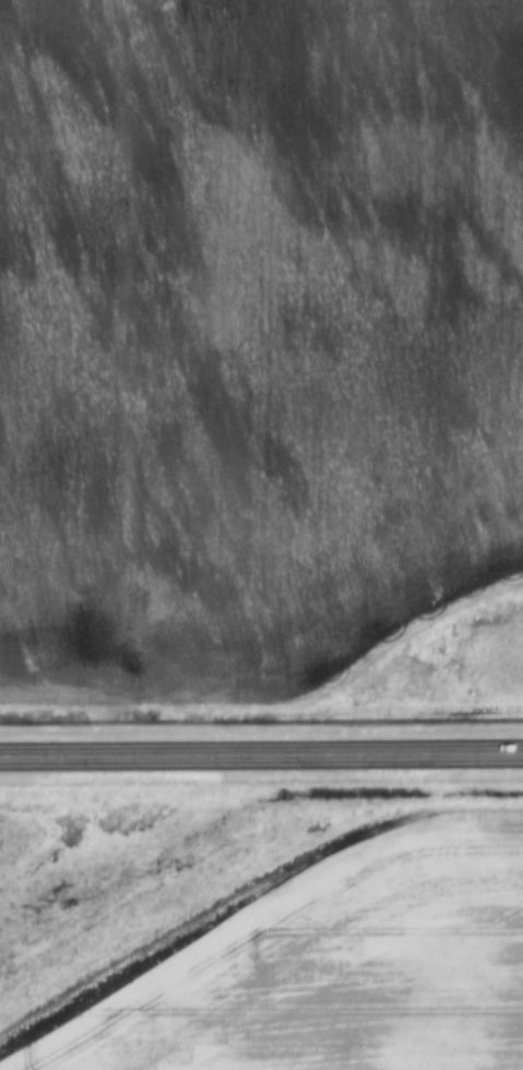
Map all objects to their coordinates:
crop: (252, 336)
road: (261, 758)
crop: (8, 834)
crop: (324, 967)

